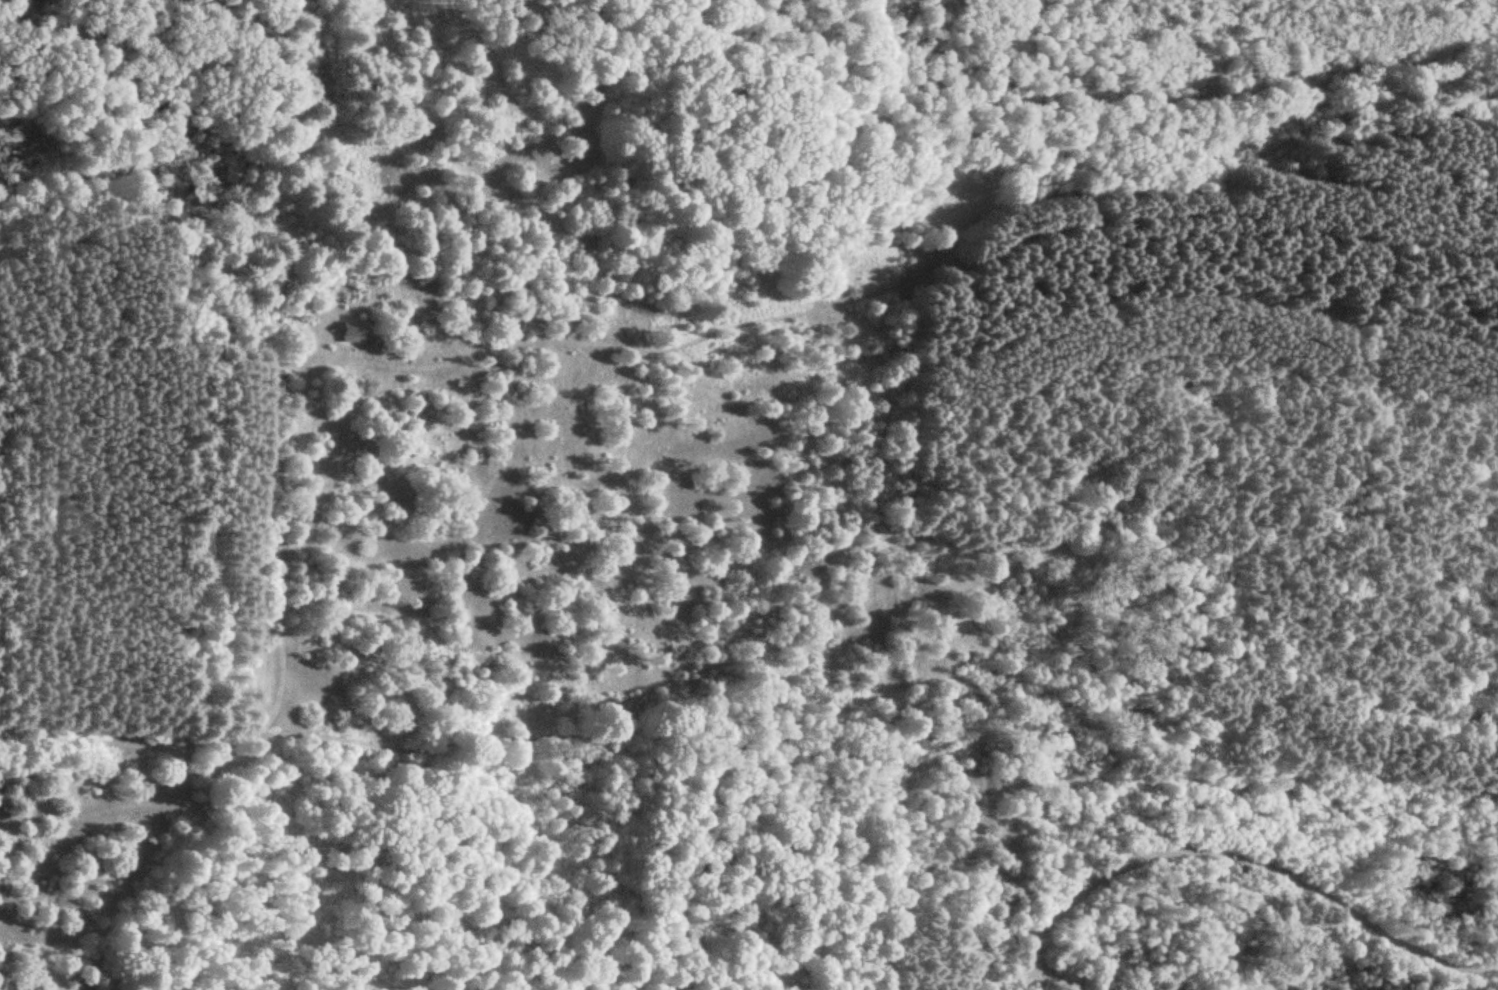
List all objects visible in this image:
building: (350, 331)
road: (184, 736)

